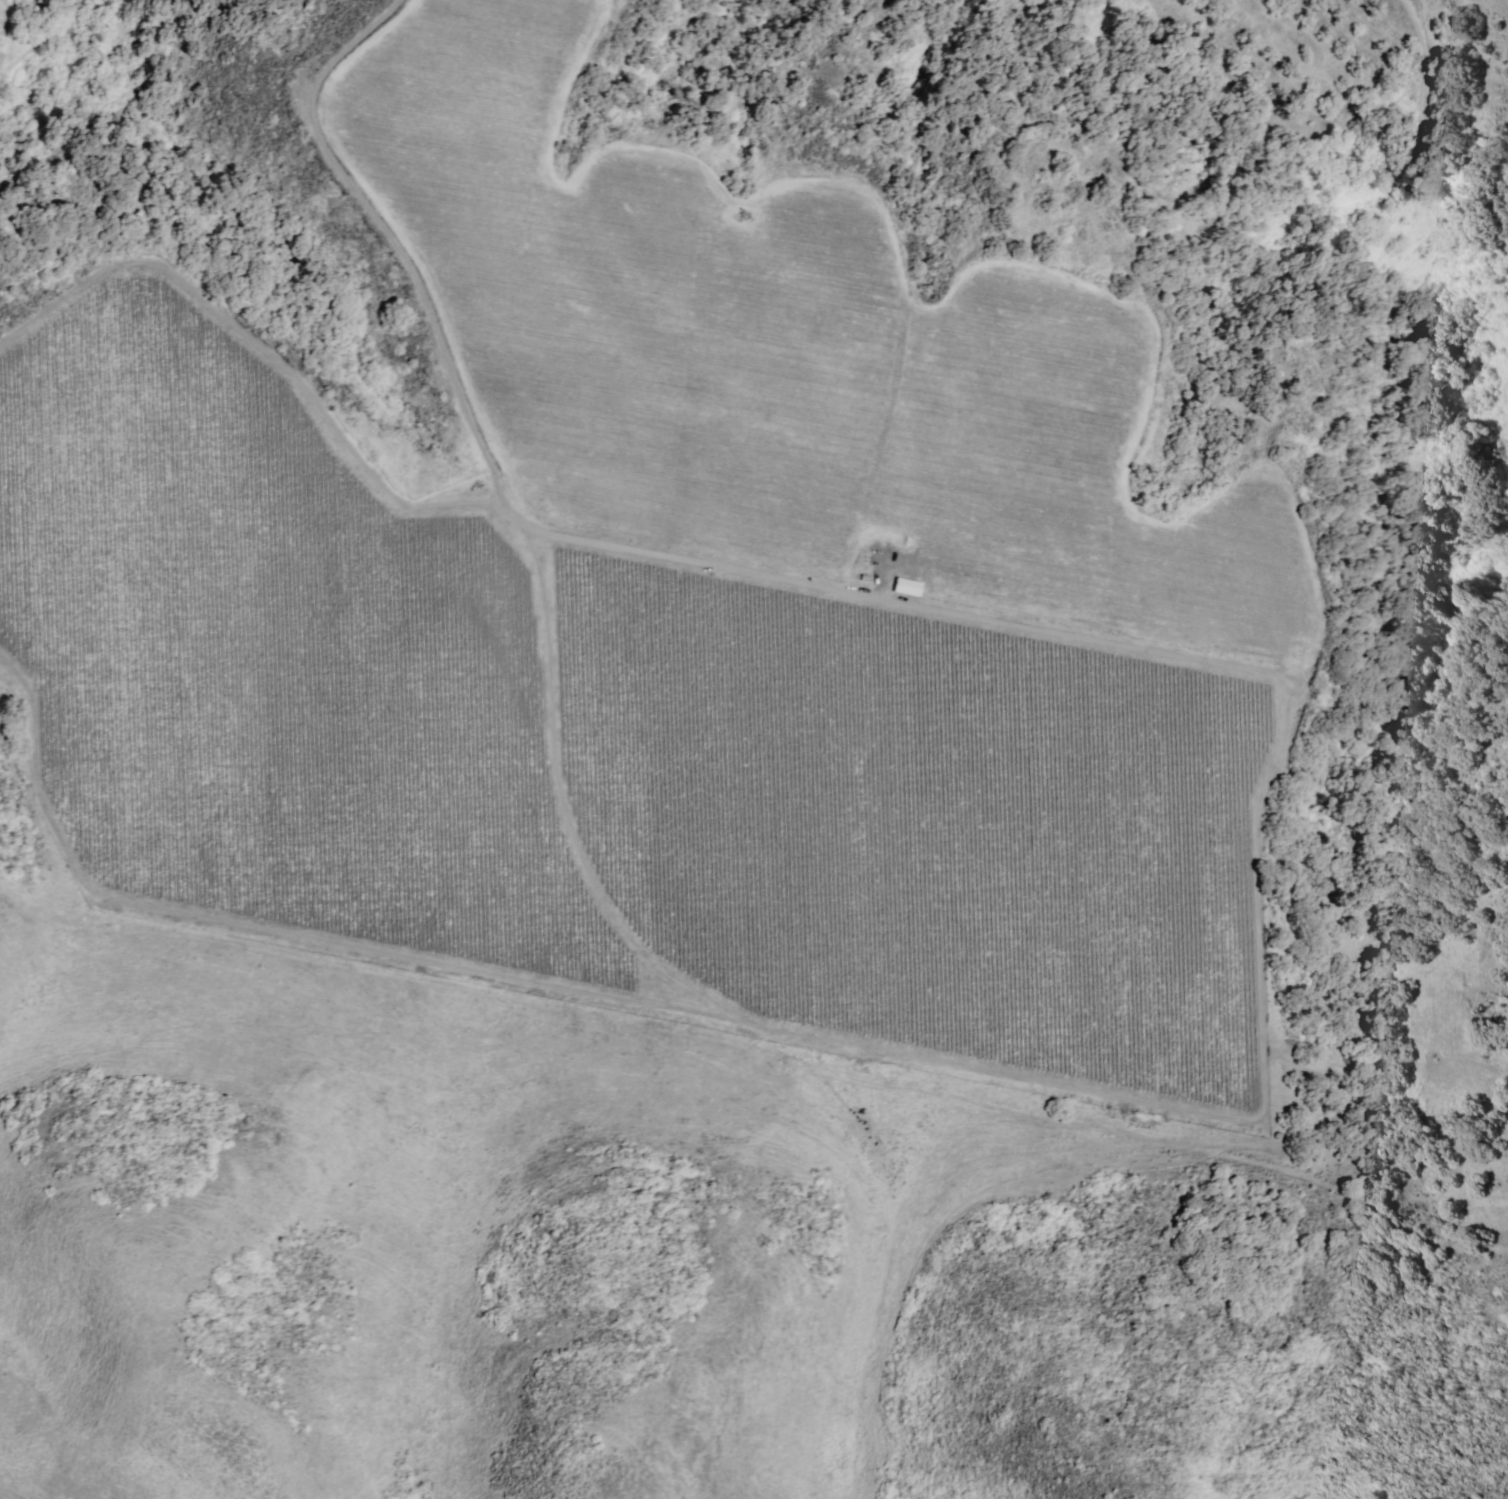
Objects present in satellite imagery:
crop: (1346, 20)
crop: (39, 35)
road: (1427, 139)
crop: (616, 740)

